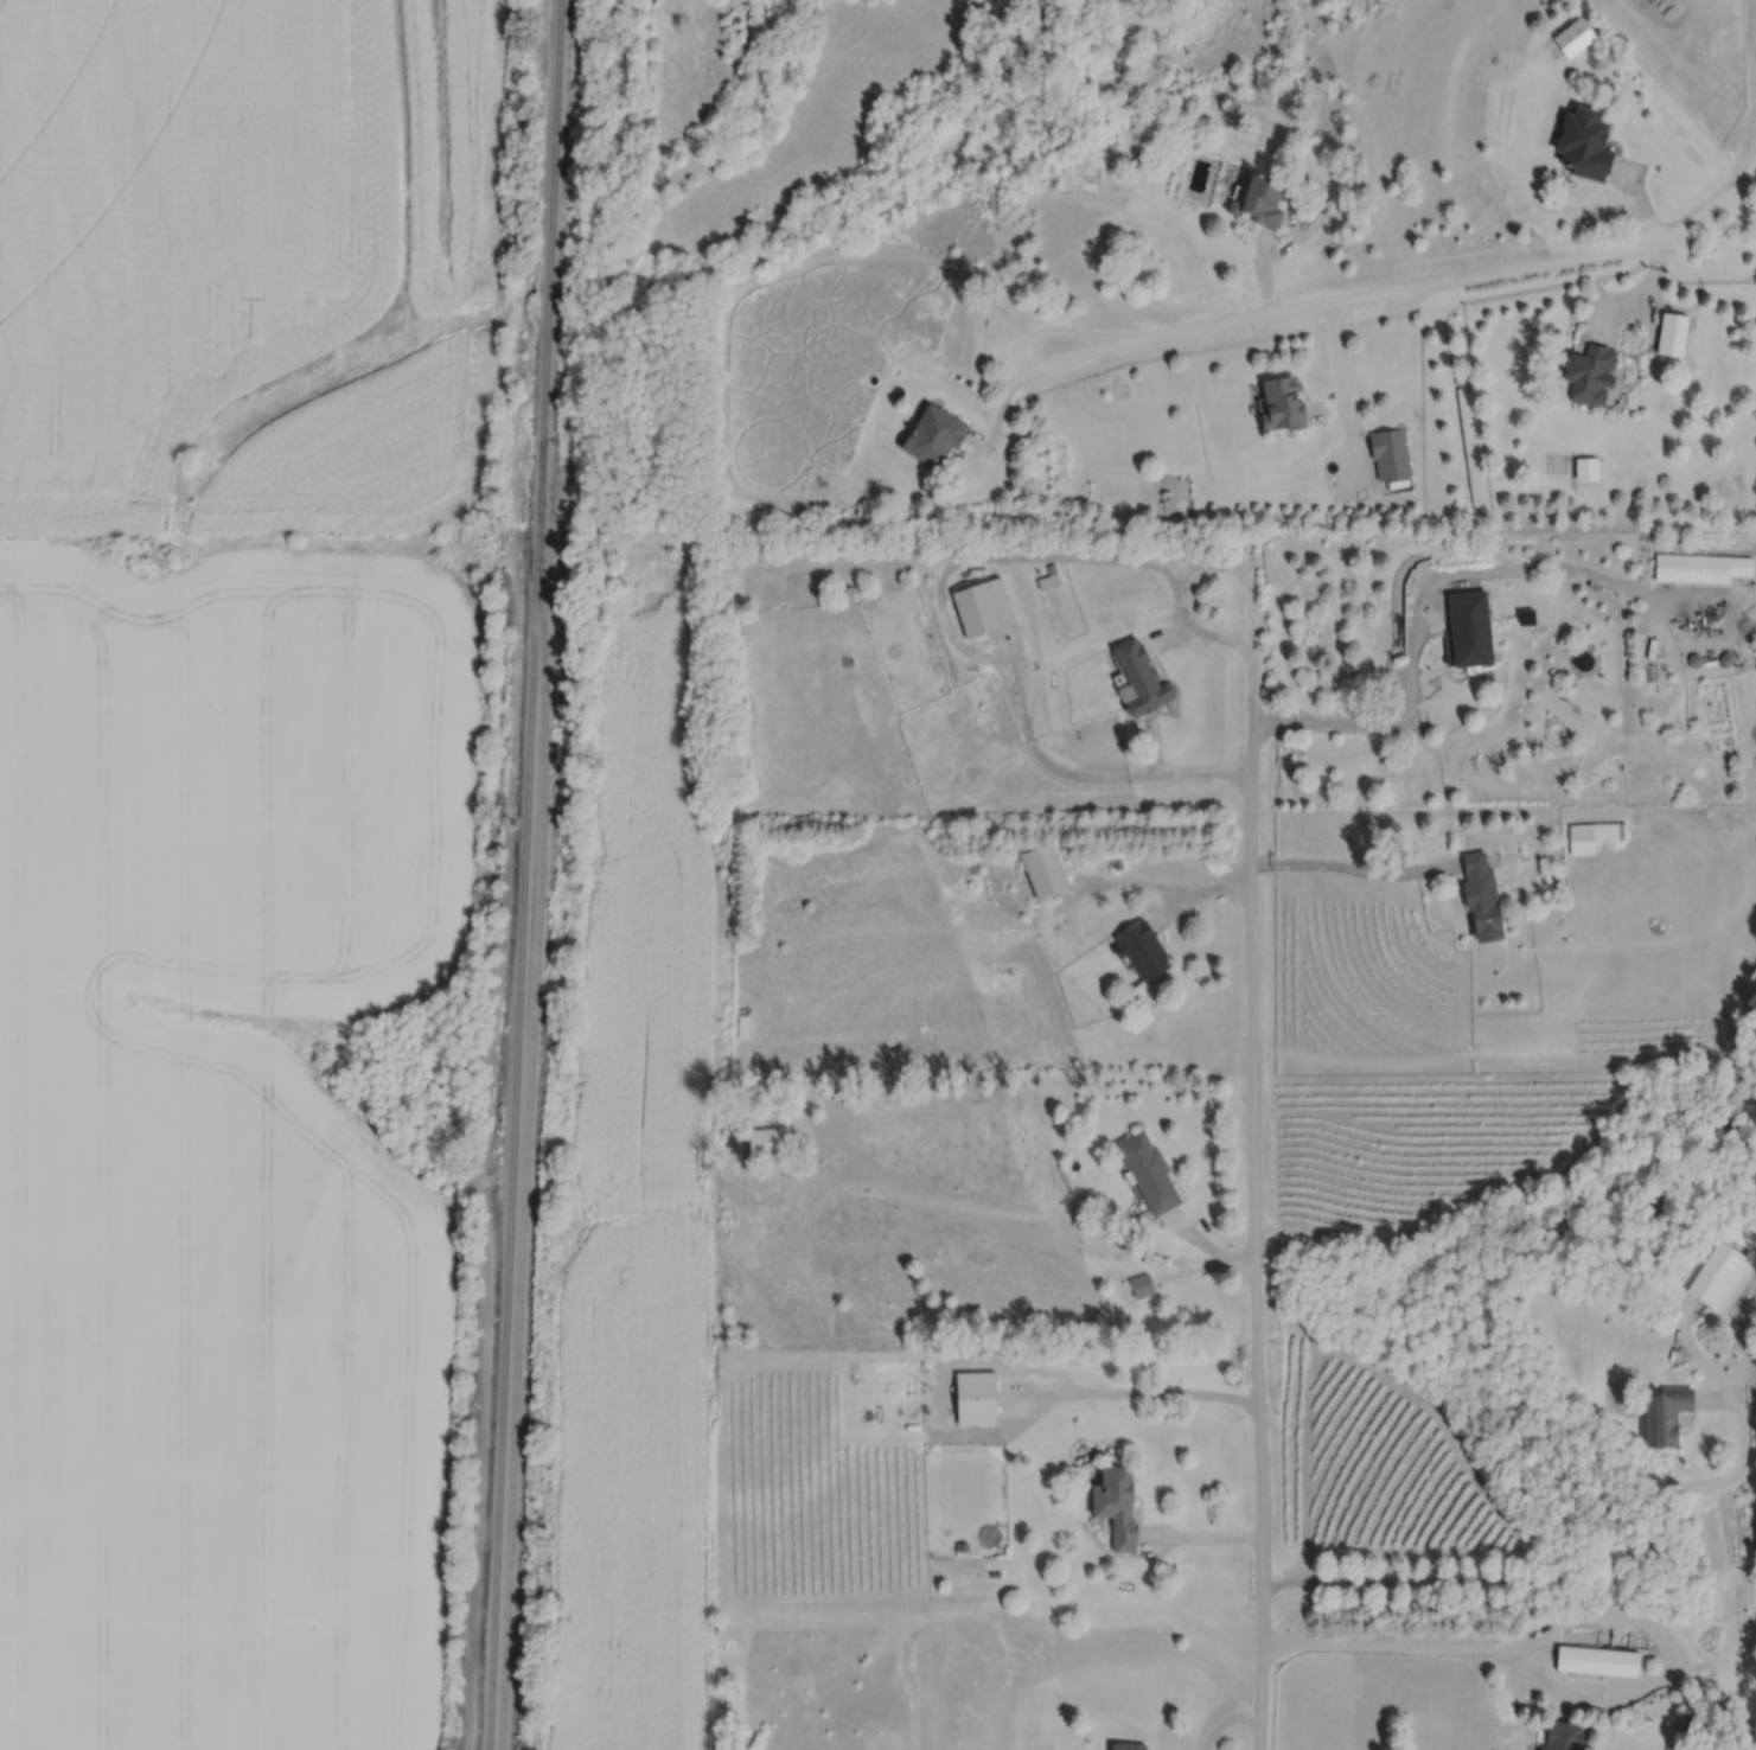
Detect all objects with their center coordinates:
building: (1573, 37)
building: (1584, 143)
building: (1259, 202)
road: (1634, 202)
road: (1323, 210)
road: (1257, 247)
road: (1262, 266)
road: (1419, 282)
road: (1649, 289)
road: (1613, 307)
building: (1672, 332)
building: (1590, 371)
road: (1342, 396)
road: (1003, 400)
building: (1282, 402)
building: (934, 433)
building: (1390, 452)
building: (1586, 467)
building: (1698, 568)
building: (1046, 581)
road: (939, 588)
building: (864, 594)
road: (1422, 606)
building: (981, 607)
building: (1467, 628)
building: (1138, 678)
building: (1579, 838)
building: (1041, 870)
railway: (523, 874)
road: (1353, 875)
building: (1477, 892)
building: (1141, 952)
building: (1754, 964)
railway: (526, 1097)
building: (766, 1139)
building: (1147, 1170)
building: (1660, 1196)
road: (1256, 1234)
building: (1715, 1272)
building: (1139, 1284)
building: (972, 1397)
road: (1134, 1405)
building: (1662, 1413)
building: (1115, 1503)
road: (1573, 1570)
road: (1397, 1643)
building: (1595, 1661)
road: (1232, 1727)
building: (1562, 1736)
building: (1126, 1745)

